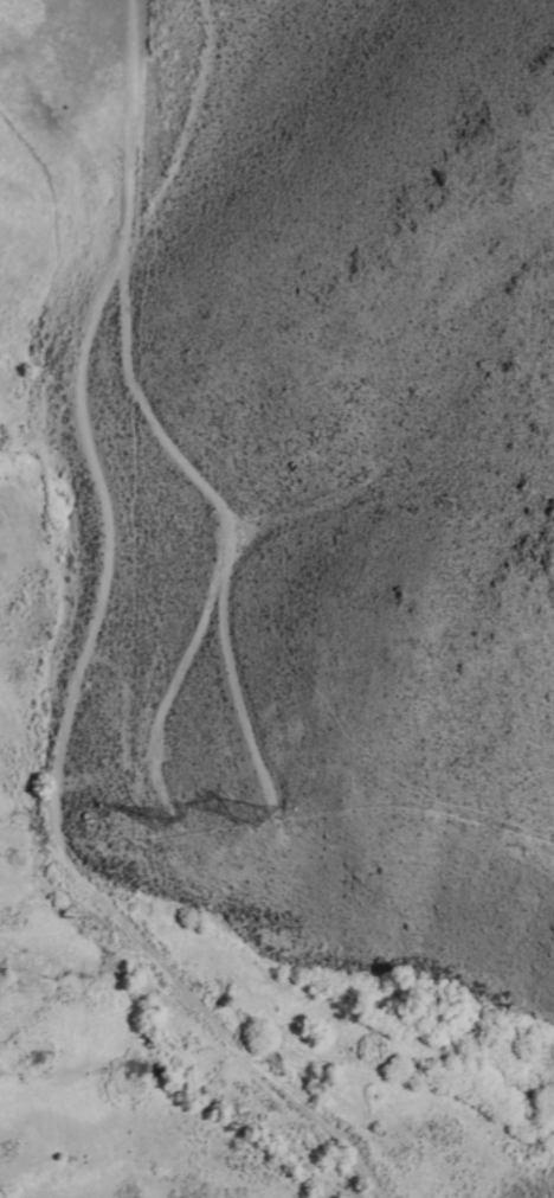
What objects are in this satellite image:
road: (226, 526)
road: (80, 656)
road: (180, 668)
power tower: (256, 814)
power tower: (156, 824)

